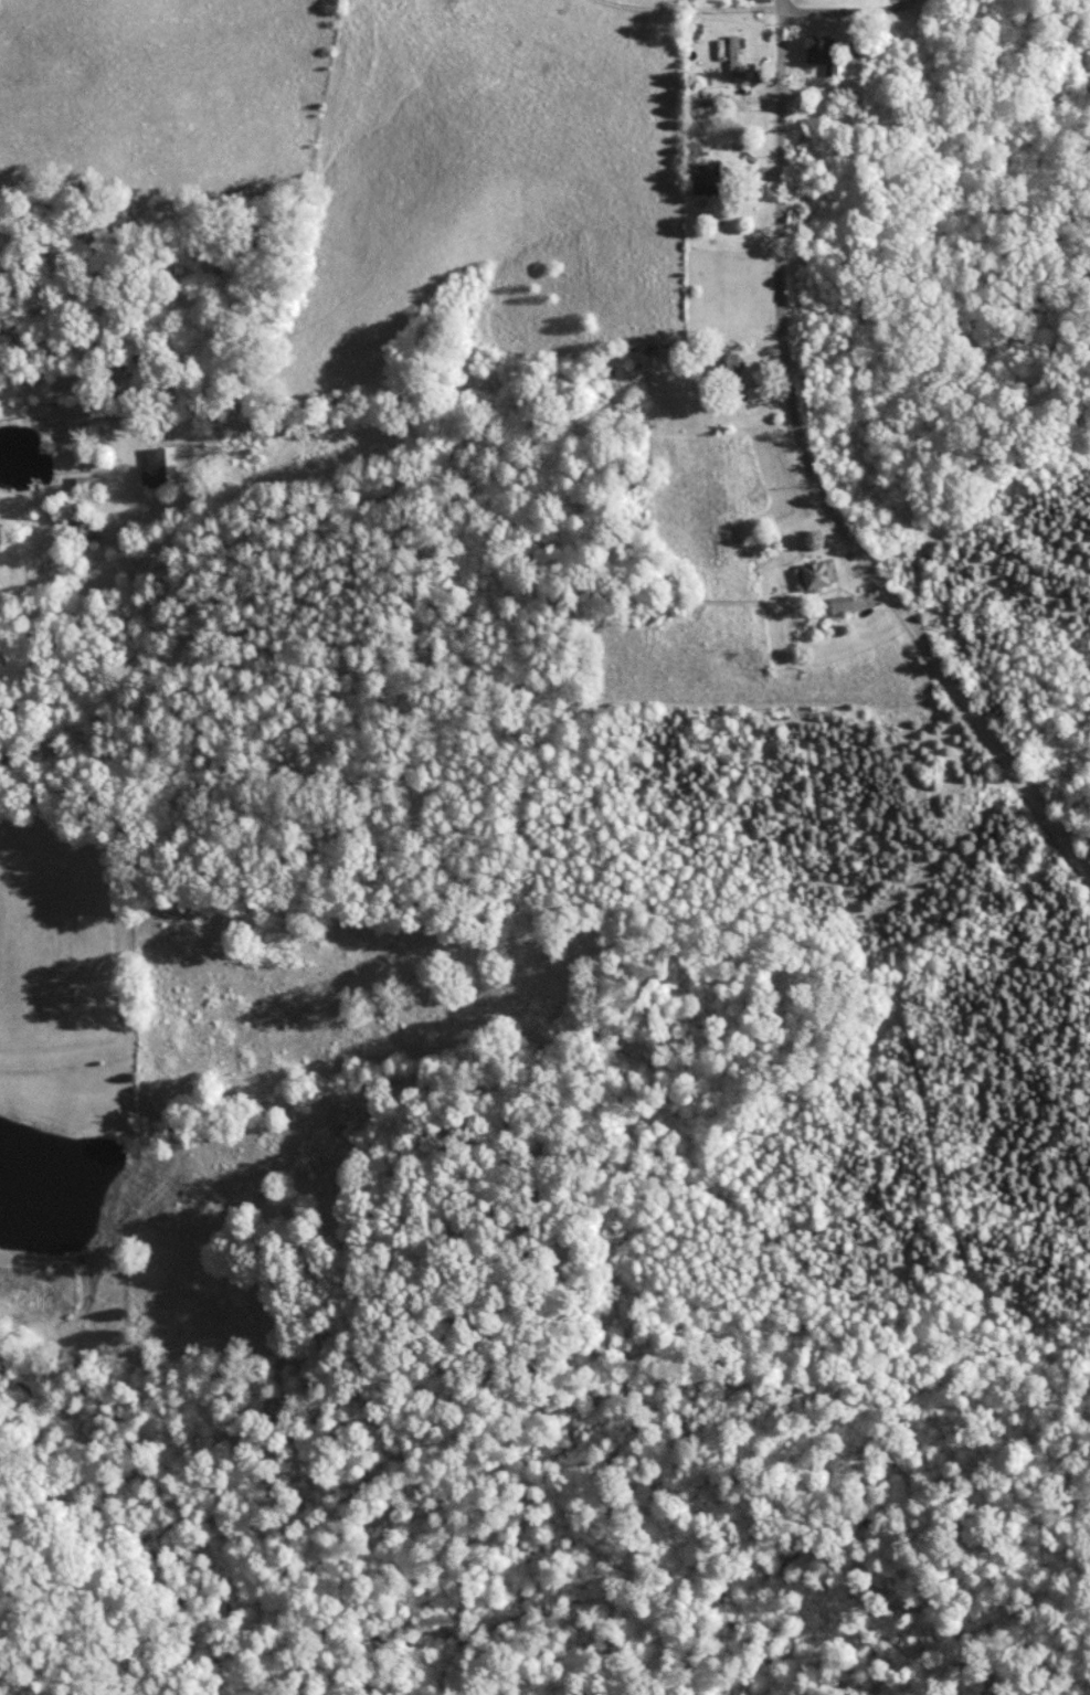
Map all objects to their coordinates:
building: (763, 1)
road: (854, 10)
building: (822, 51)
building: (860, 51)
building: (734, 55)
building: (710, 177)
road: (777, 257)
building: (729, 364)
road: (68, 411)
building: (160, 466)
building: (91, 483)
building: (84, 526)
building: (815, 574)
building: (844, 604)
road: (957, 689)

